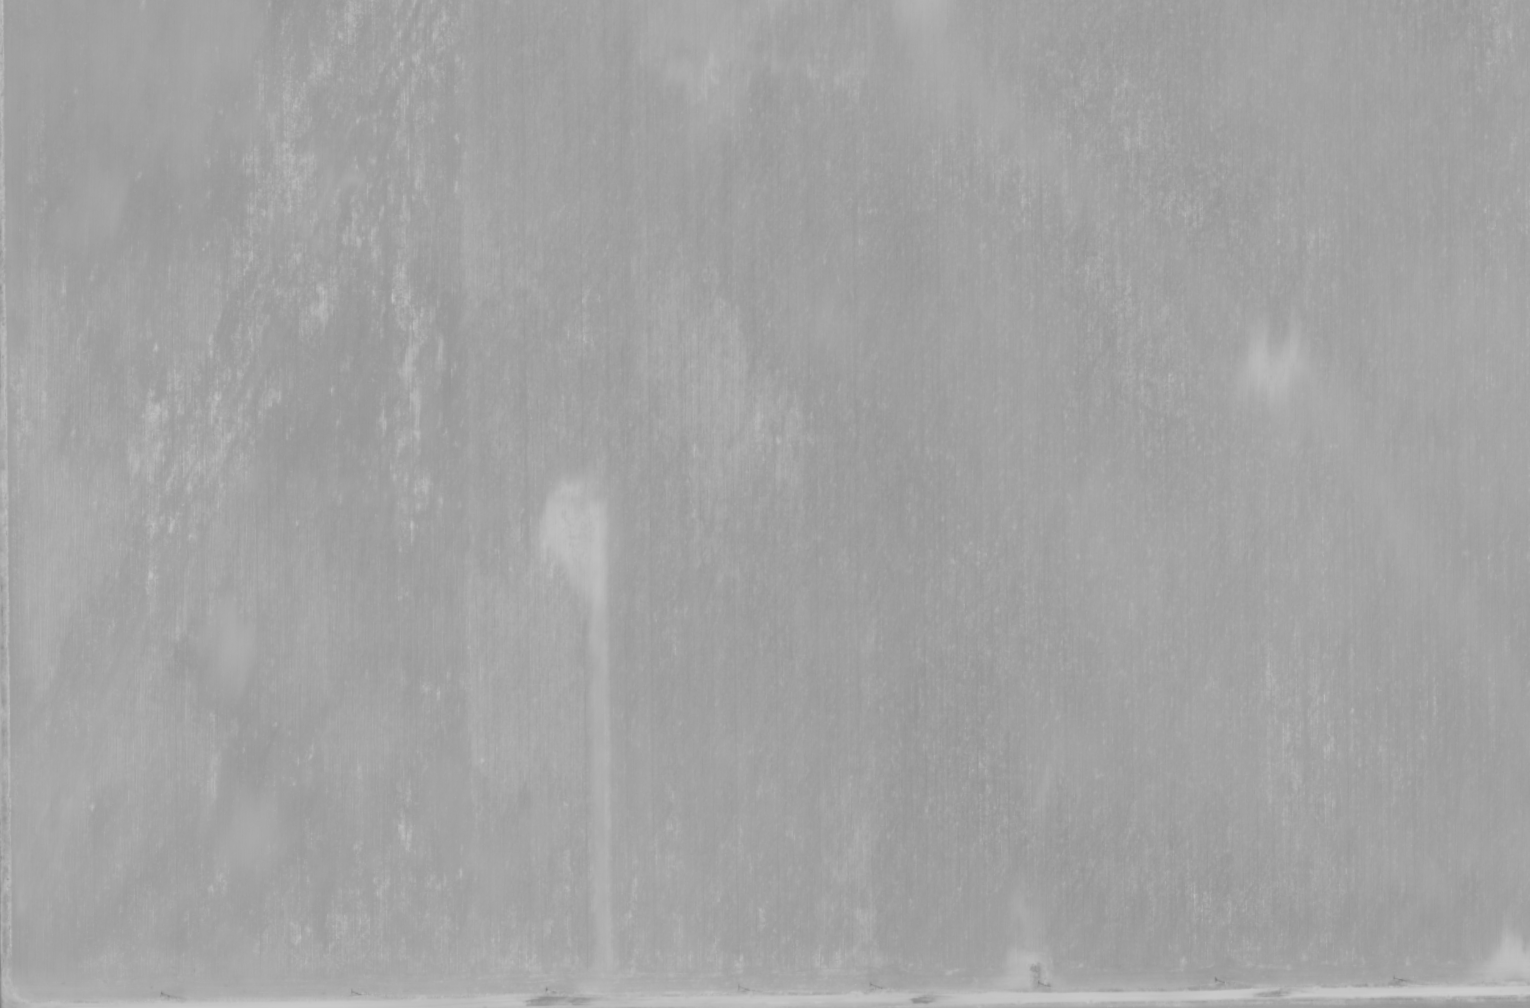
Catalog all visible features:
road: (2, 829)
road: (767, 992)
road: (2, 1003)

